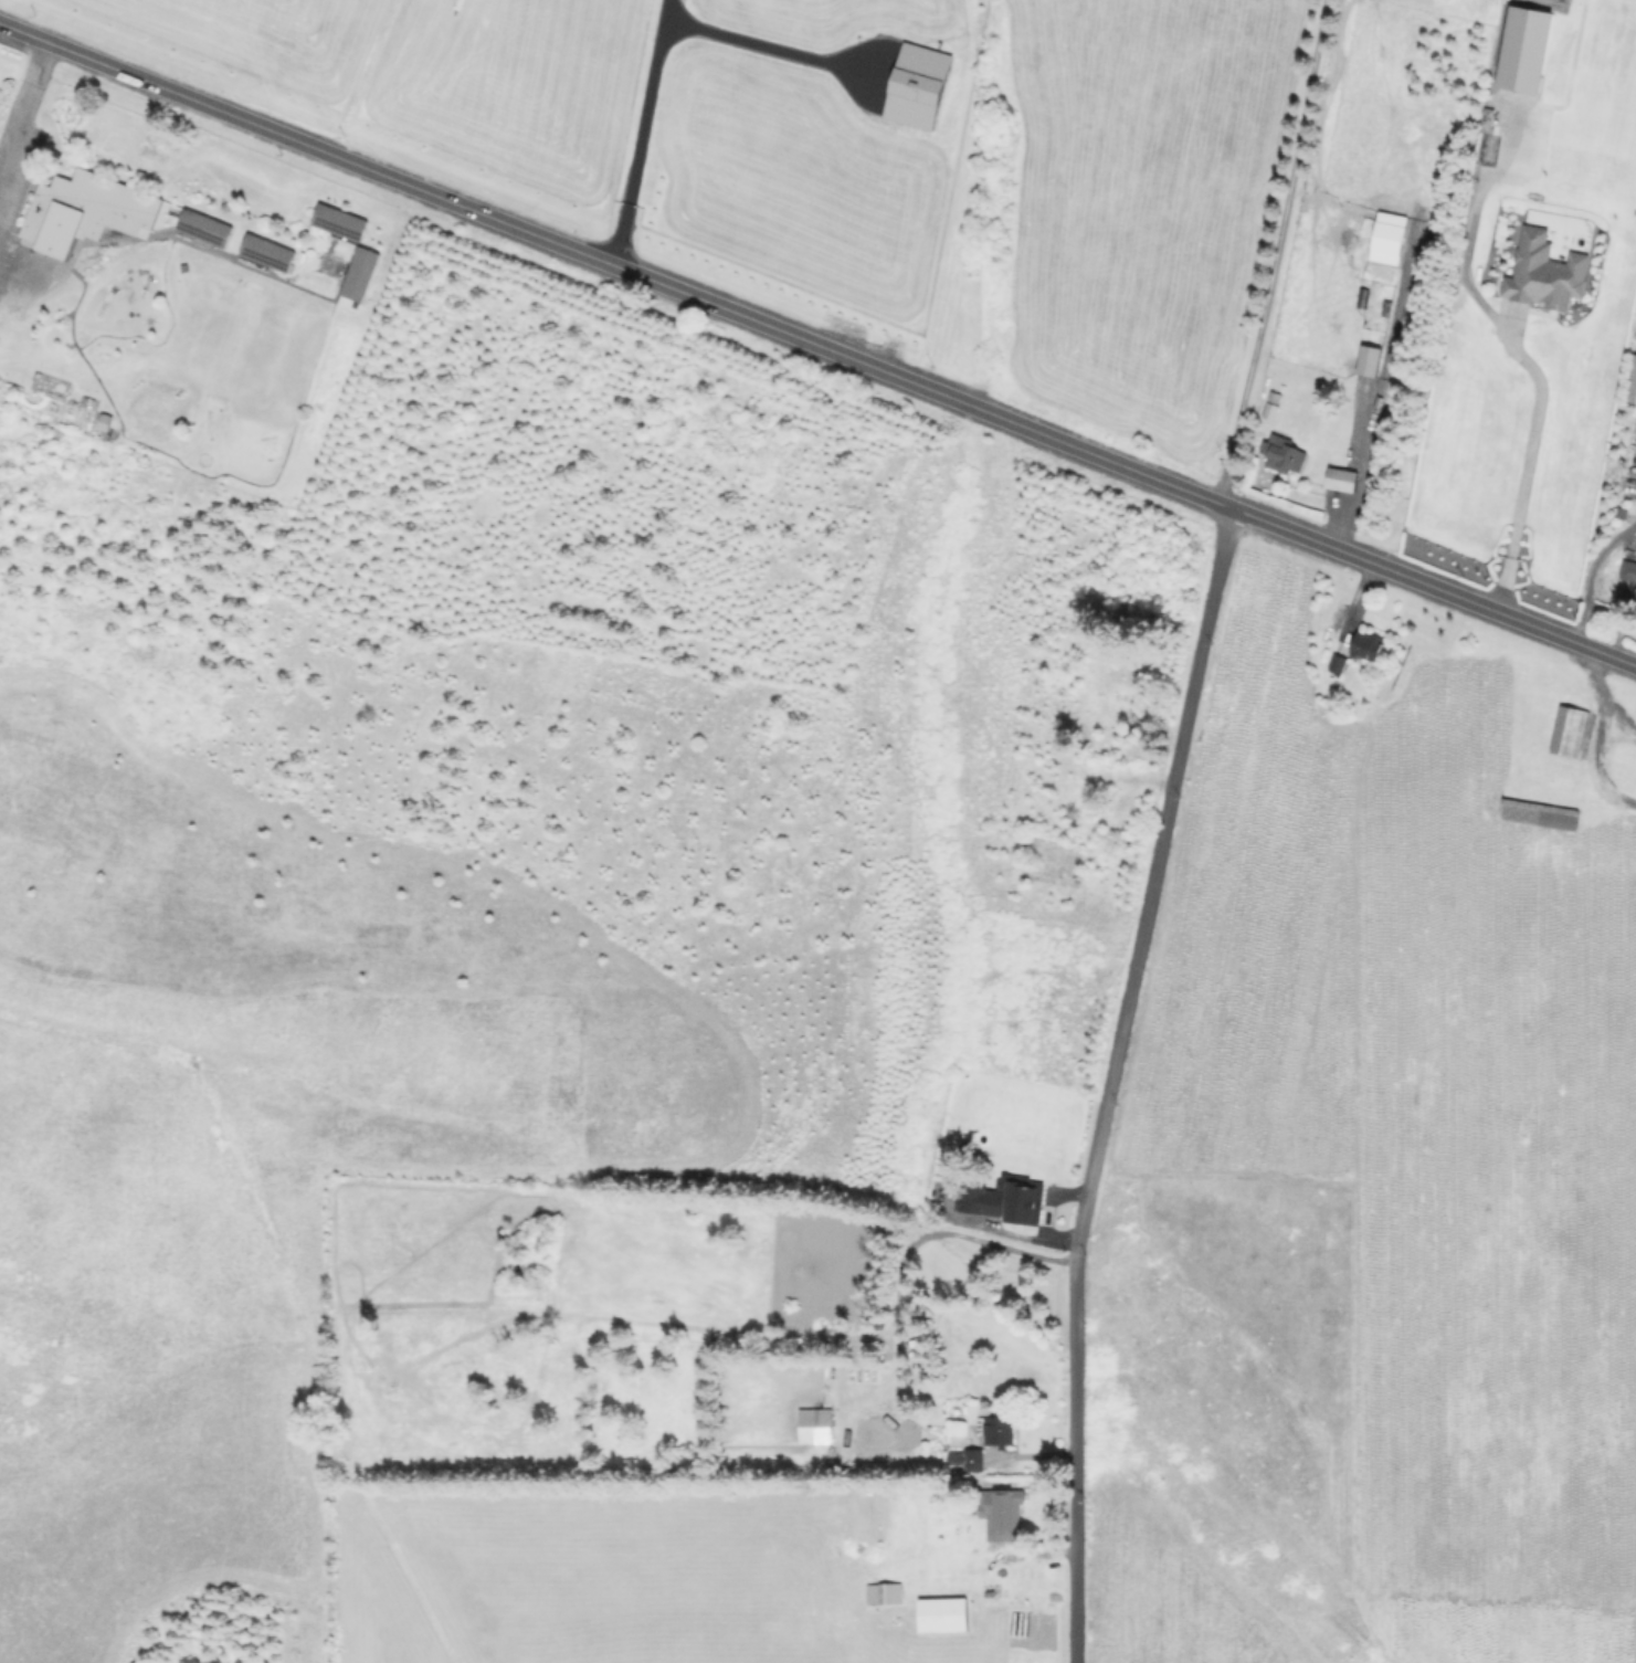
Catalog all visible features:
road: (753, 39)
road: (24, 109)
road: (629, 129)
building: (86, 211)
building: (335, 225)
building: (205, 227)
building: (270, 250)
road: (1280, 253)
building: (1547, 273)
building: (356, 276)
road: (817, 344)
road: (1513, 349)
building: (1370, 360)
building: (1630, 386)
building: (1273, 406)
building: (101, 425)
building: (1283, 453)
building: (1342, 478)
road: (1586, 567)
building: (1626, 573)
building: (1634, 598)
building: (1370, 644)
building: (1338, 663)
building: (1566, 735)
building: (1537, 815)
road: (1110, 1081)
building: (994, 1199)
building: (1038, 1217)
road: (914, 1243)
building: (816, 1425)
building: (998, 1430)
building: (884, 1433)
building: (967, 1459)
building: (1002, 1513)
building: (885, 1592)
building: (943, 1614)

